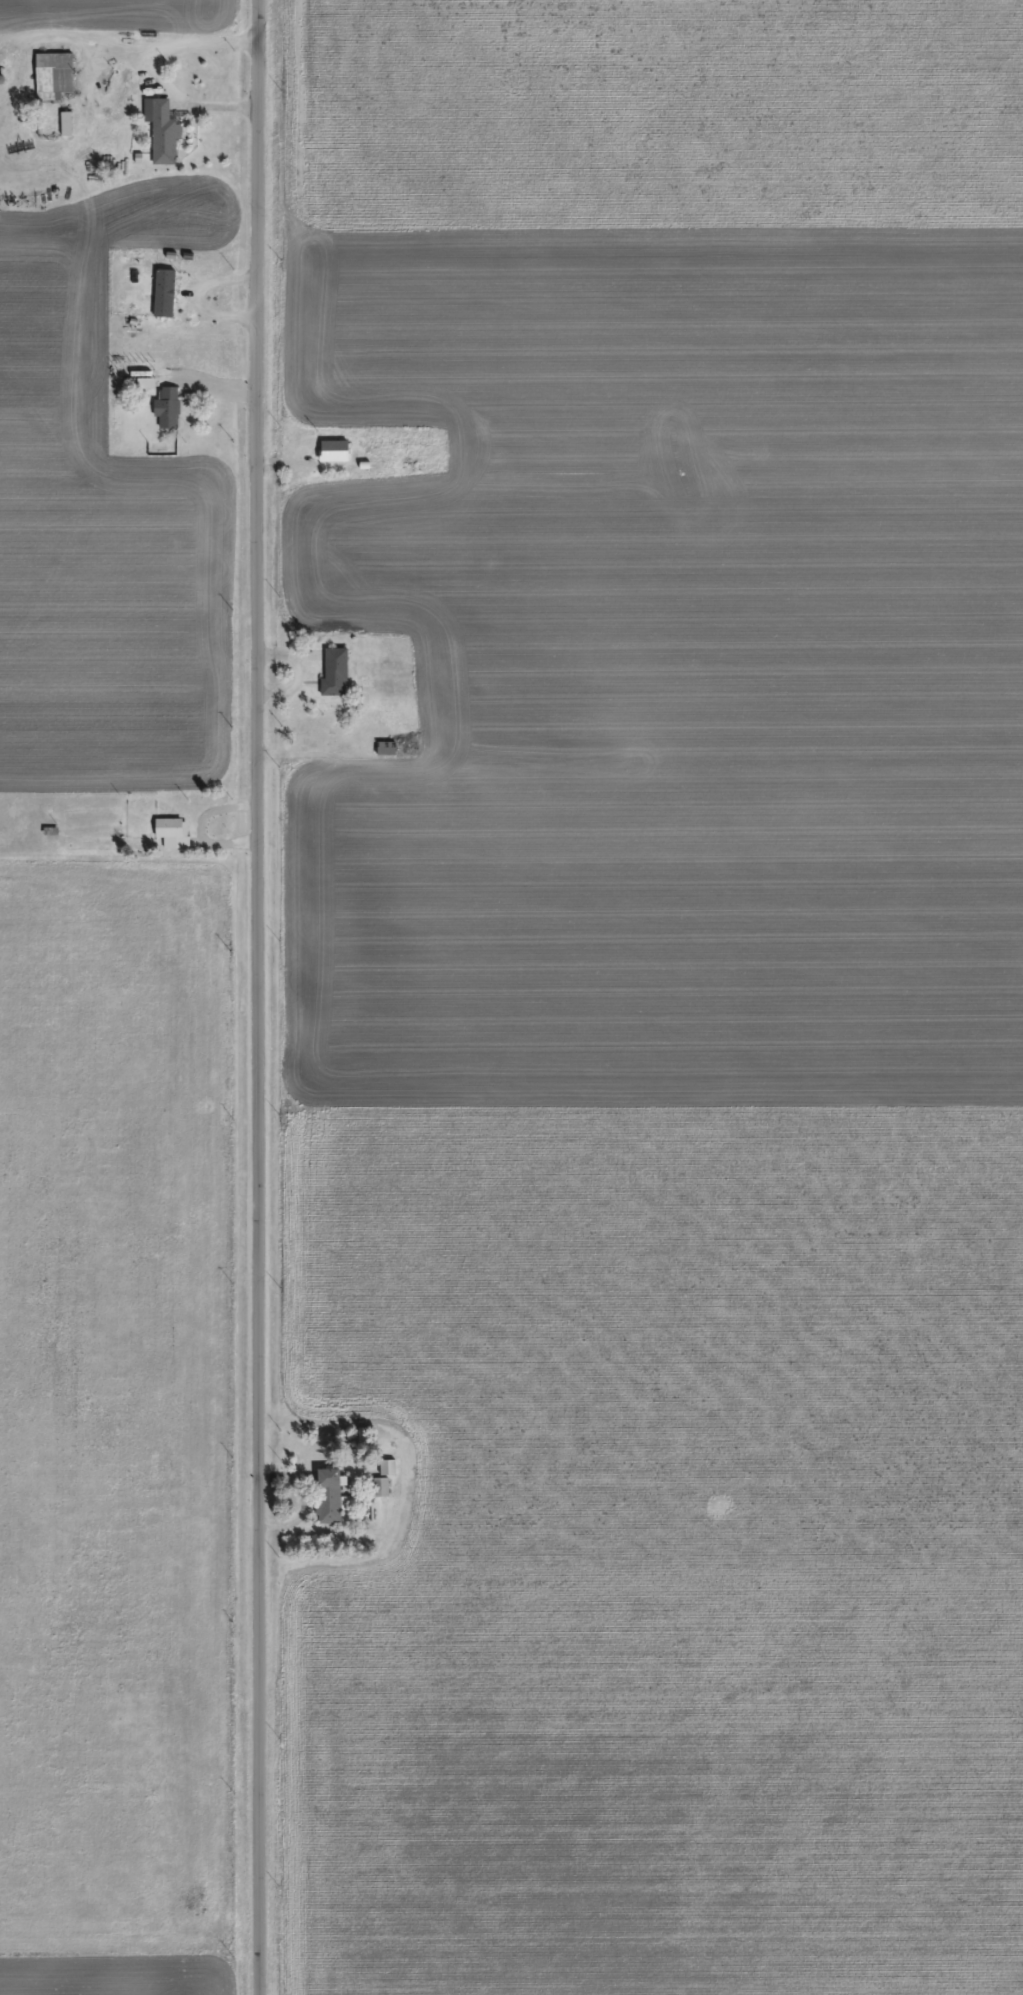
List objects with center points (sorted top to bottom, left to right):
building: (50, 83)
building: (62, 131)
building: (159, 139)
building: (160, 301)
building: (141, 387)
building: (164, 415)
building: (329, 458)
building: (331, 679)
building: (383, 756)
building: (169, 840)
road: (266, 997)
building: (385, 1475)
building: (377, 1494)
building: (327, 1503)

